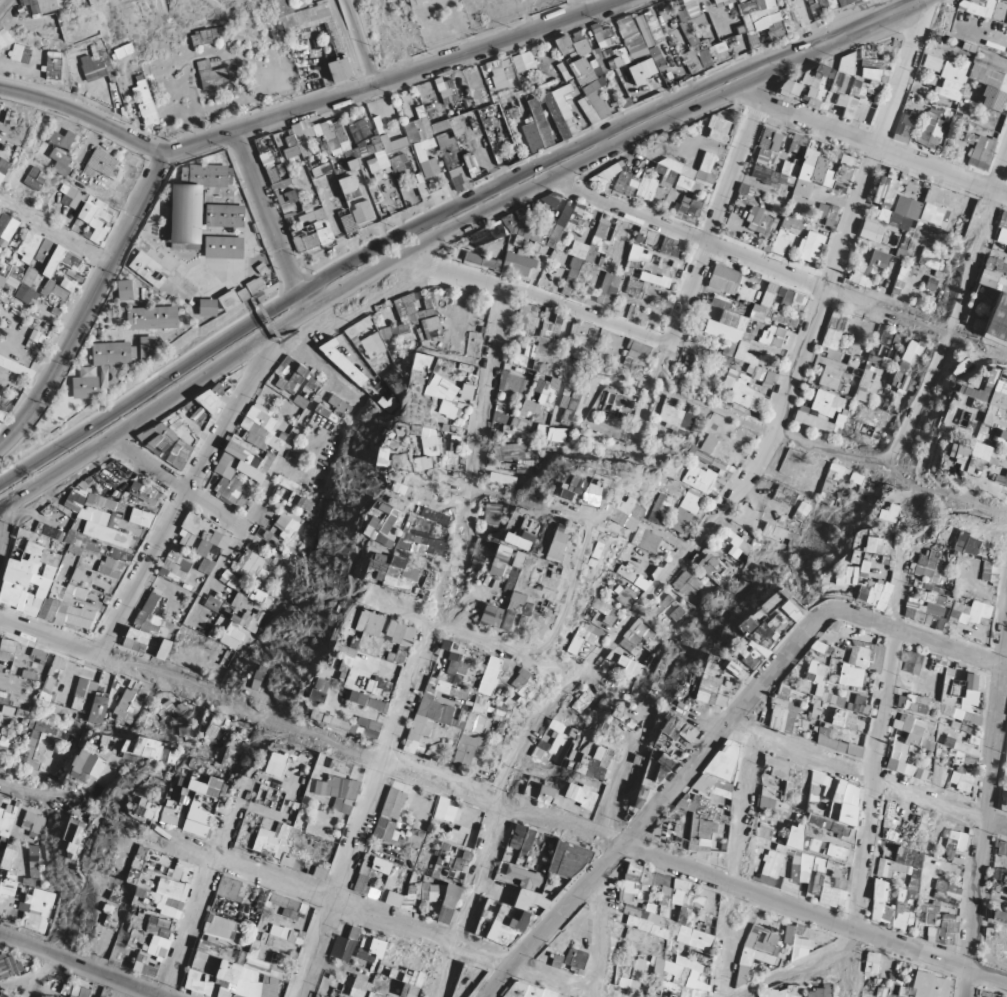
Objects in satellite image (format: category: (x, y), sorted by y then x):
building: (717, 0)
road: (2, 2)
building: (772, 18)
building: (686, 29)
building: (626, 40)
building: (581, 46)
building: (641, 67)
building: (501, 73)
building: (791, 84)
building: (939, 88)
building: (829, 89)
road: (233, 131)
building: (537, 141)
building: (769, 142)
building: (819, 165)
road: (438, 214)
road: (456, 229)
building: (794, 239)
building: (963, 453)
building: (868, 575)
building: (981, 611)
building: (944, 723)
road: (986, 813)

